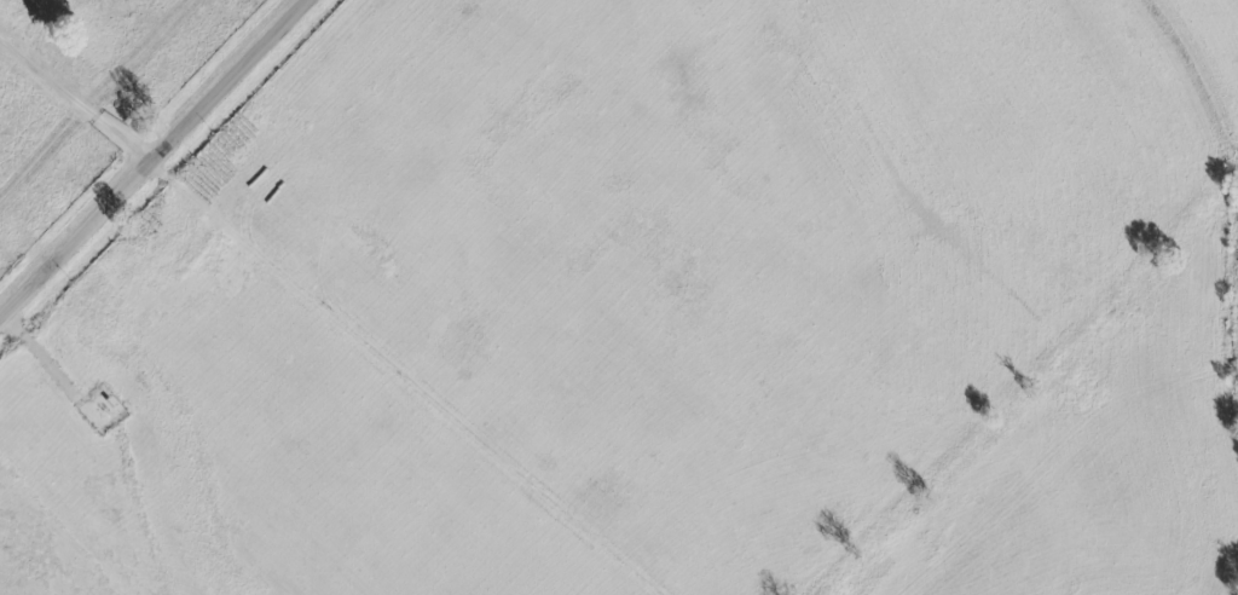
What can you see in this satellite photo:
road: (73, 105)
road: (151, 158)

